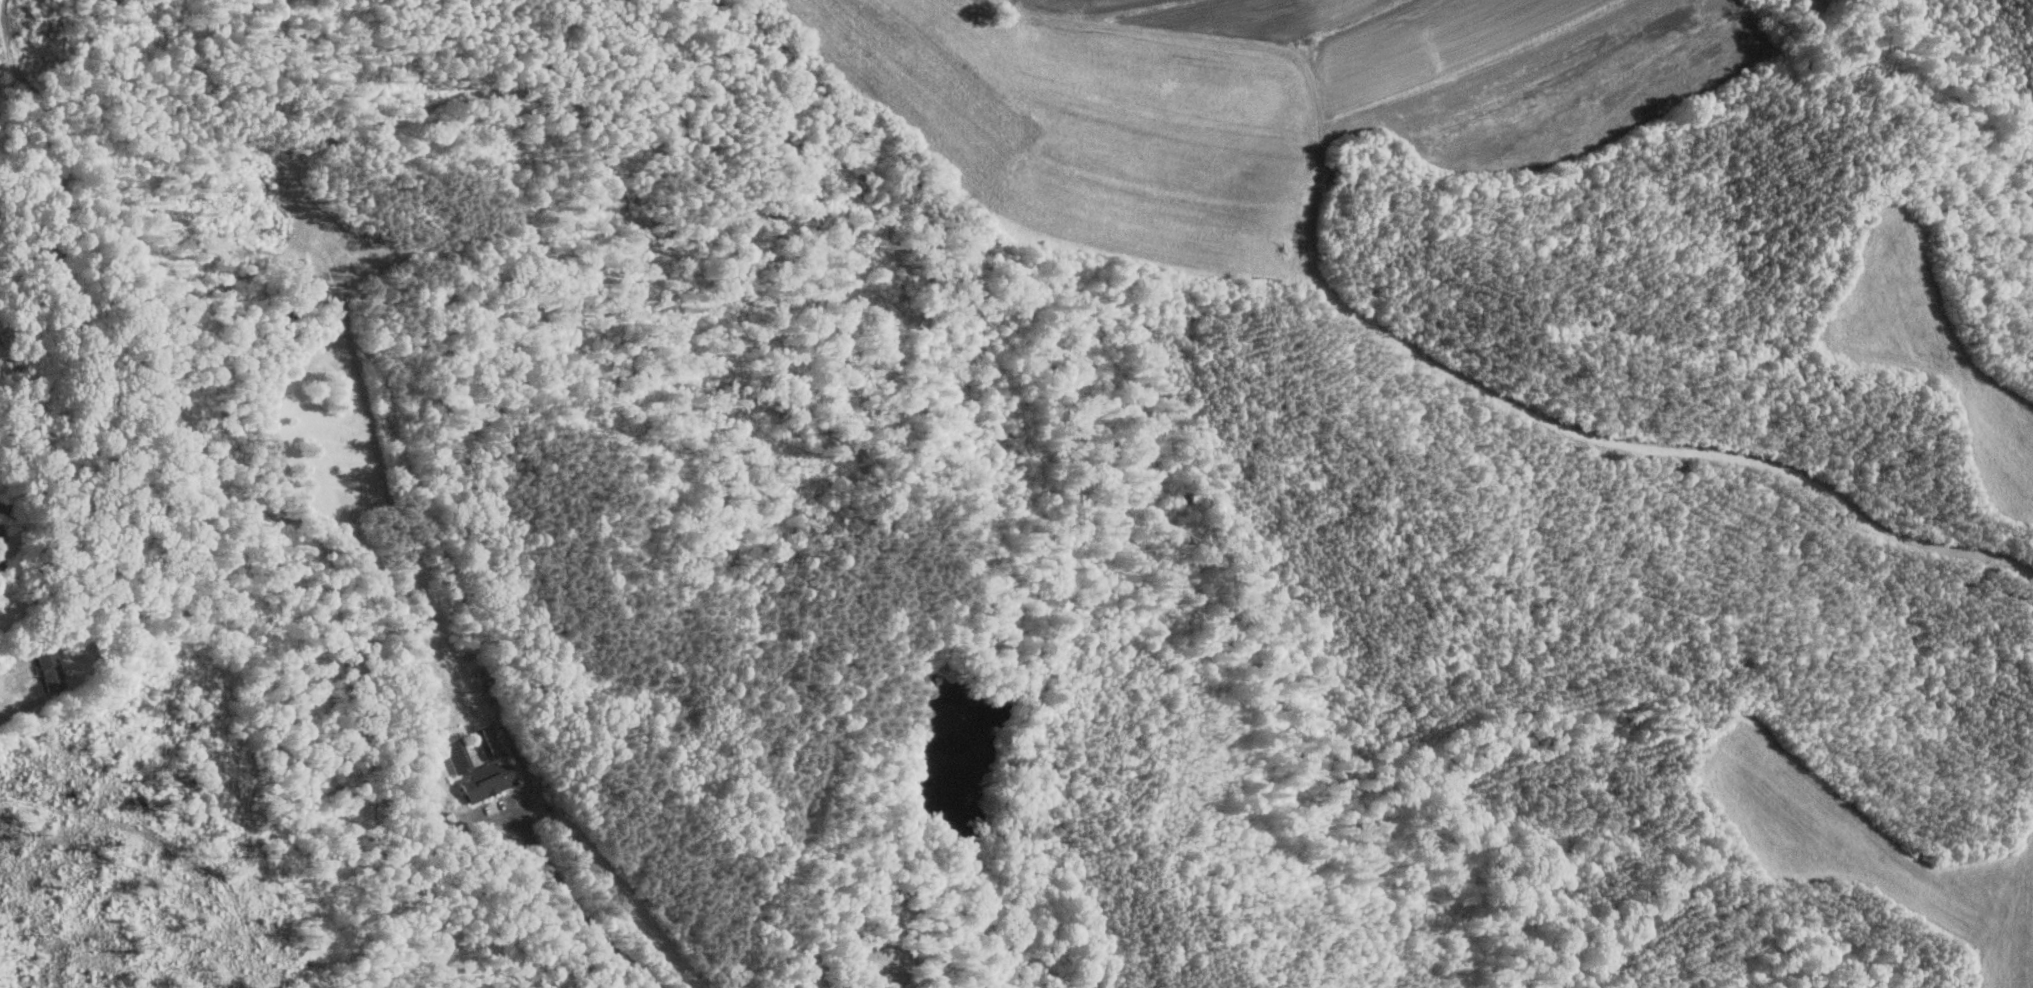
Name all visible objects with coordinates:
building: (48, 665)
road: (14, 712)
building: (488, 741)
building: (457, 755)
building: (486, 780)
road: (578, 906)

